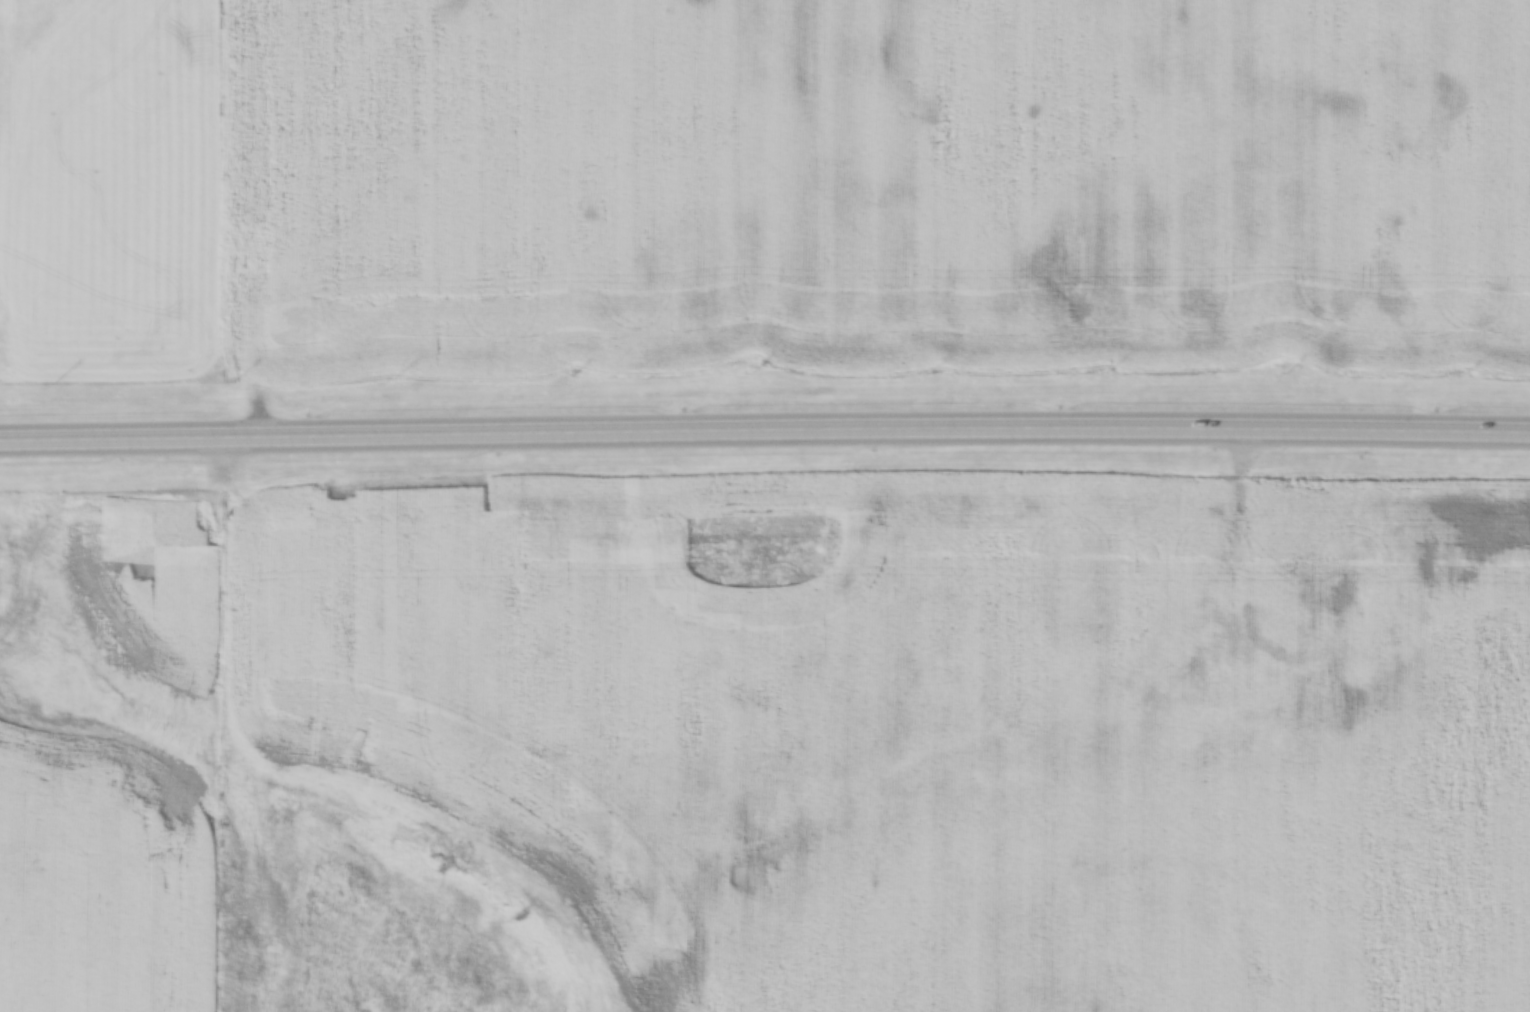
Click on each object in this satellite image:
road: (765, 428)

